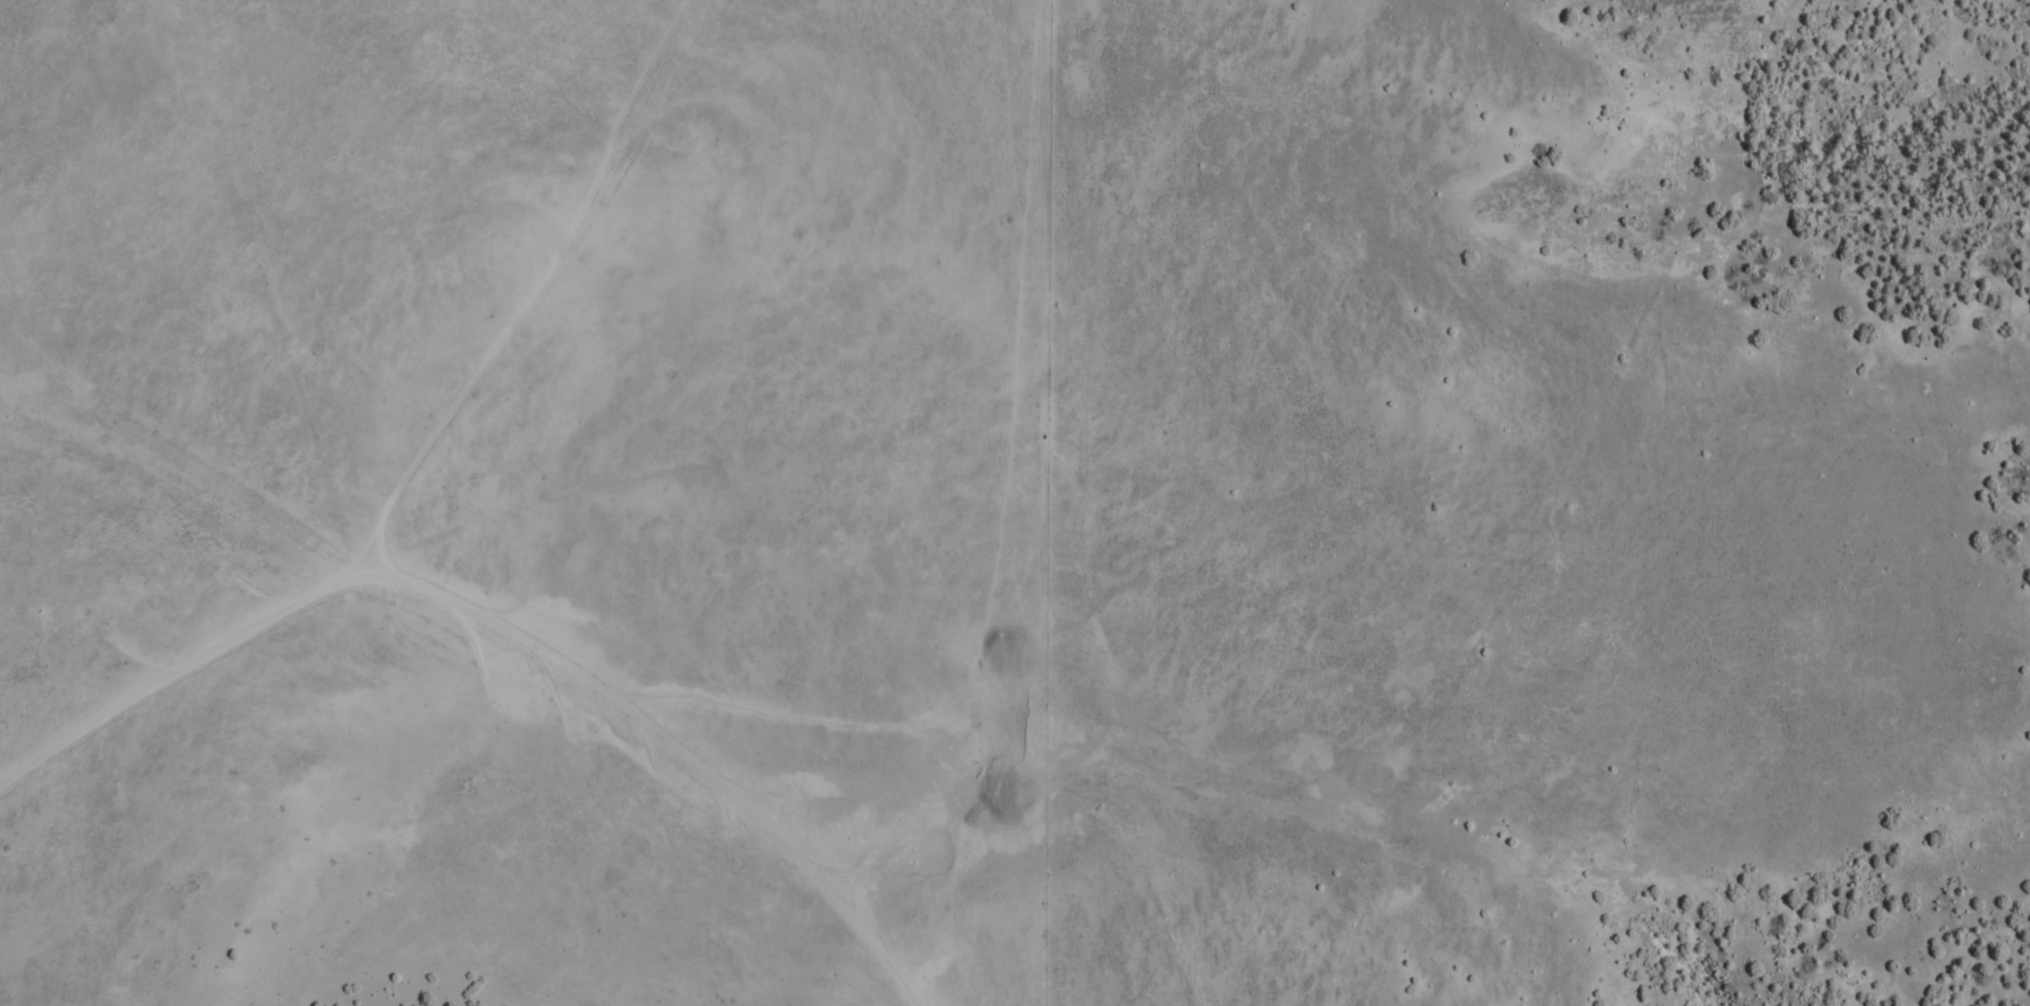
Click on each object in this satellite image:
road: (492, 623)

